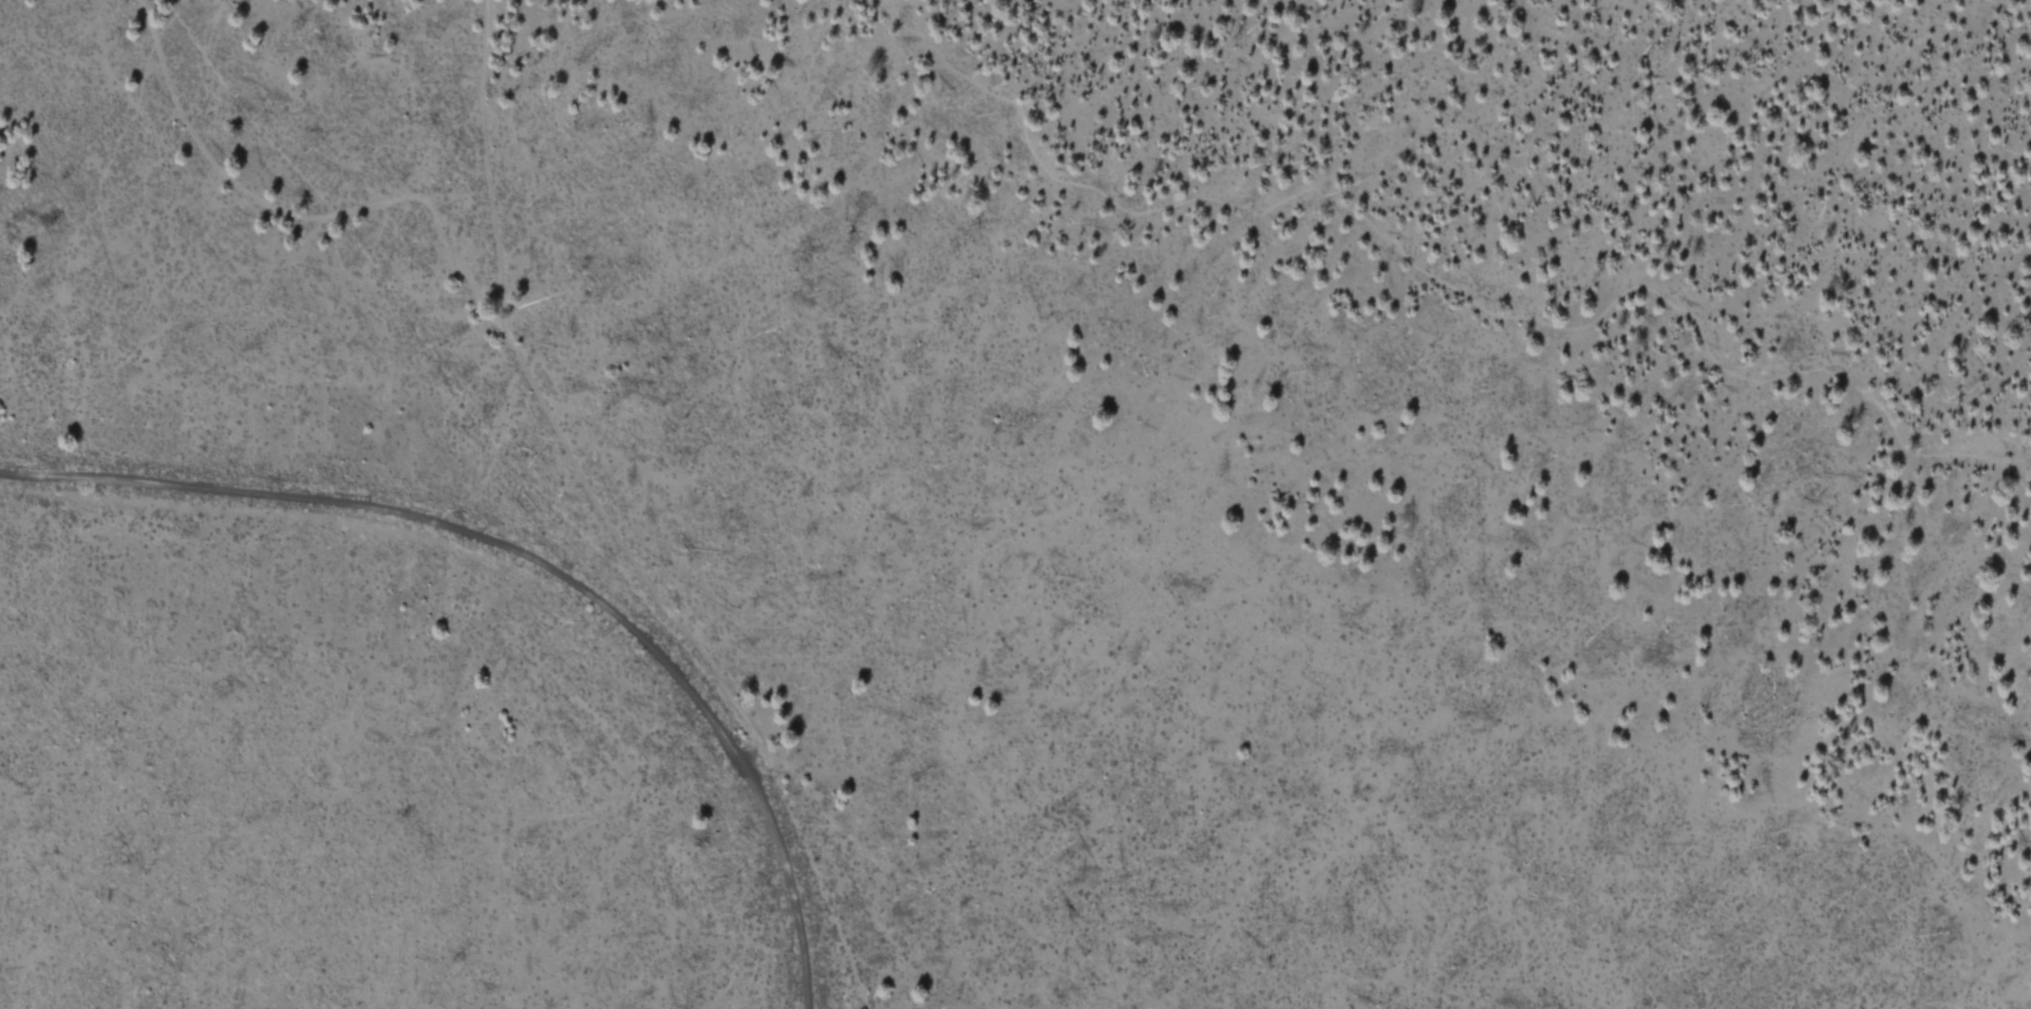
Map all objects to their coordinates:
road: (485, 178)
road: (482, 310)
road: (533, 562)

